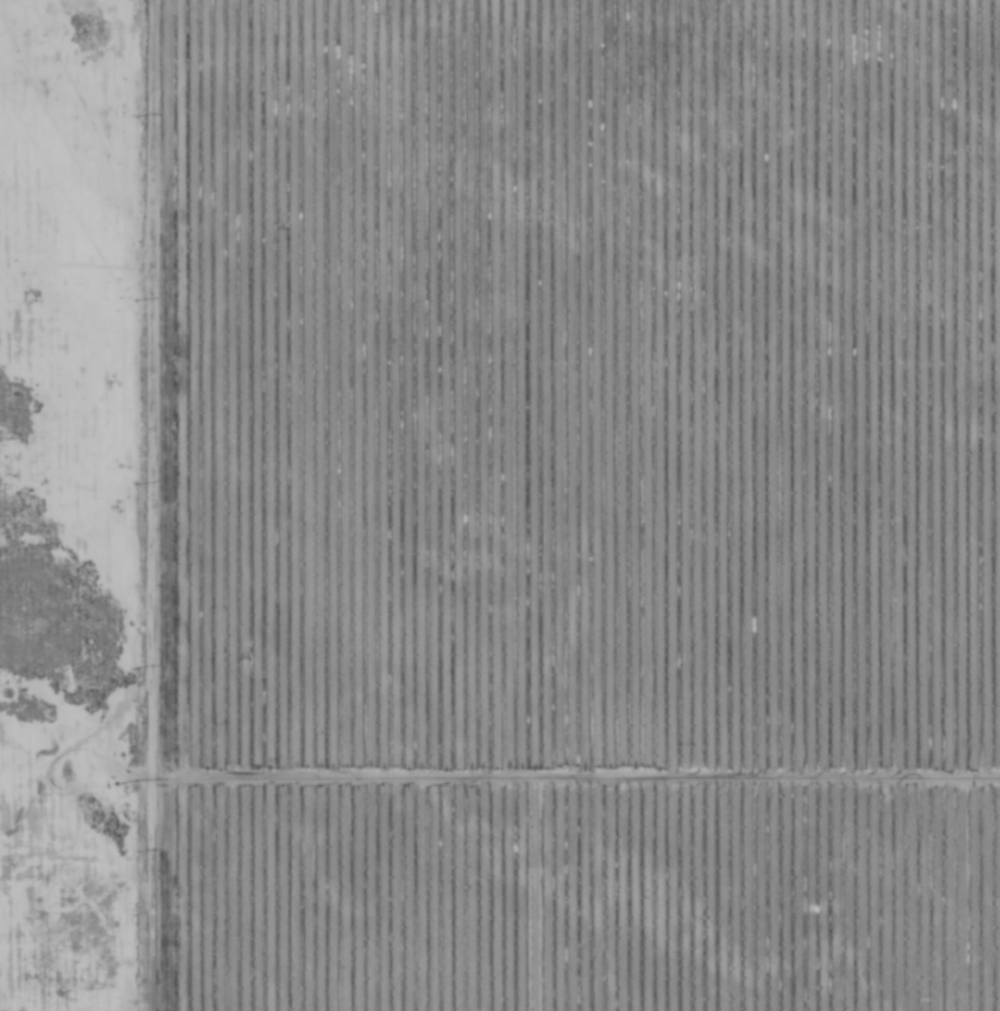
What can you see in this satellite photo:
road: (142, 505)

